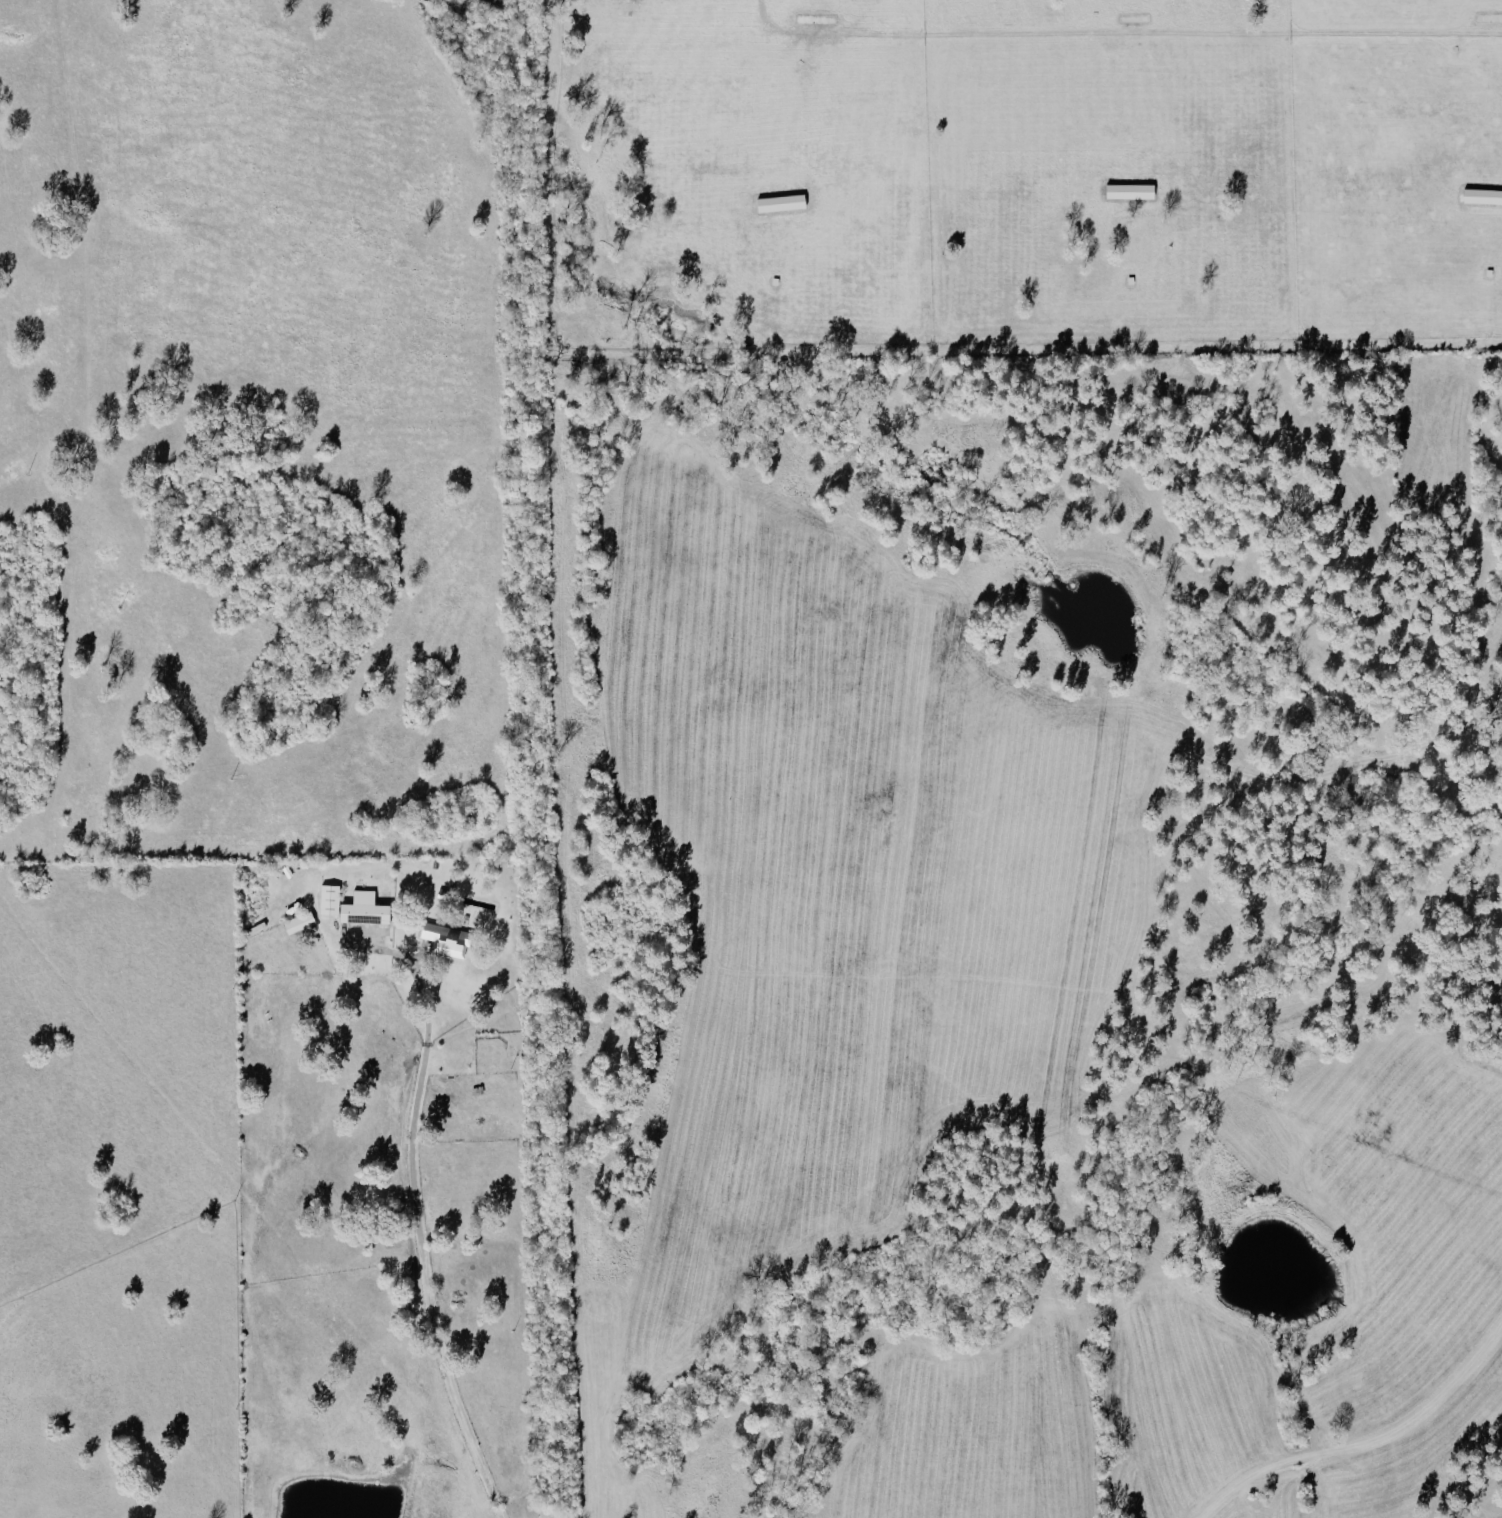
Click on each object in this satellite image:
road: (1123, 31)
building: (1133, 190)
building: (1484, 195)
building: (783, 202)
building: (332, 899)
building: (367, 909)
building: (448, 939)
road: (421, 1241)

